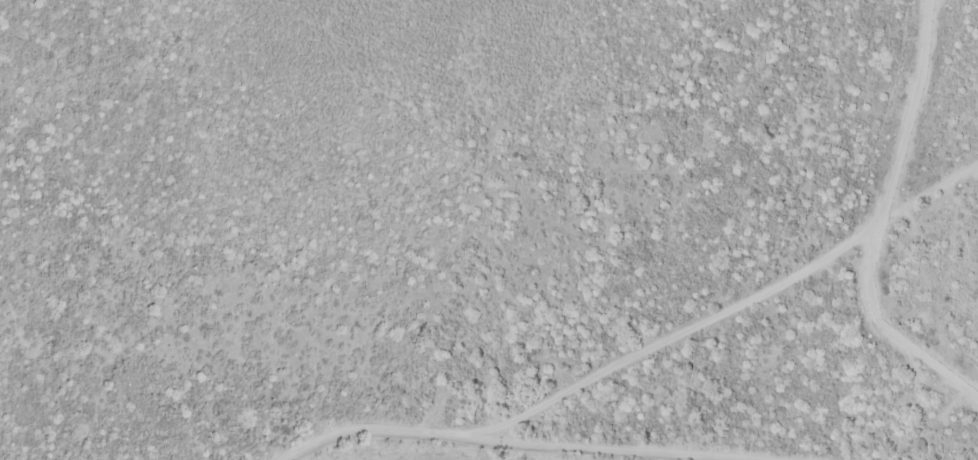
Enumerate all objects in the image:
road: (877, 216)
road: (675, 333)
road: (515, 441)

